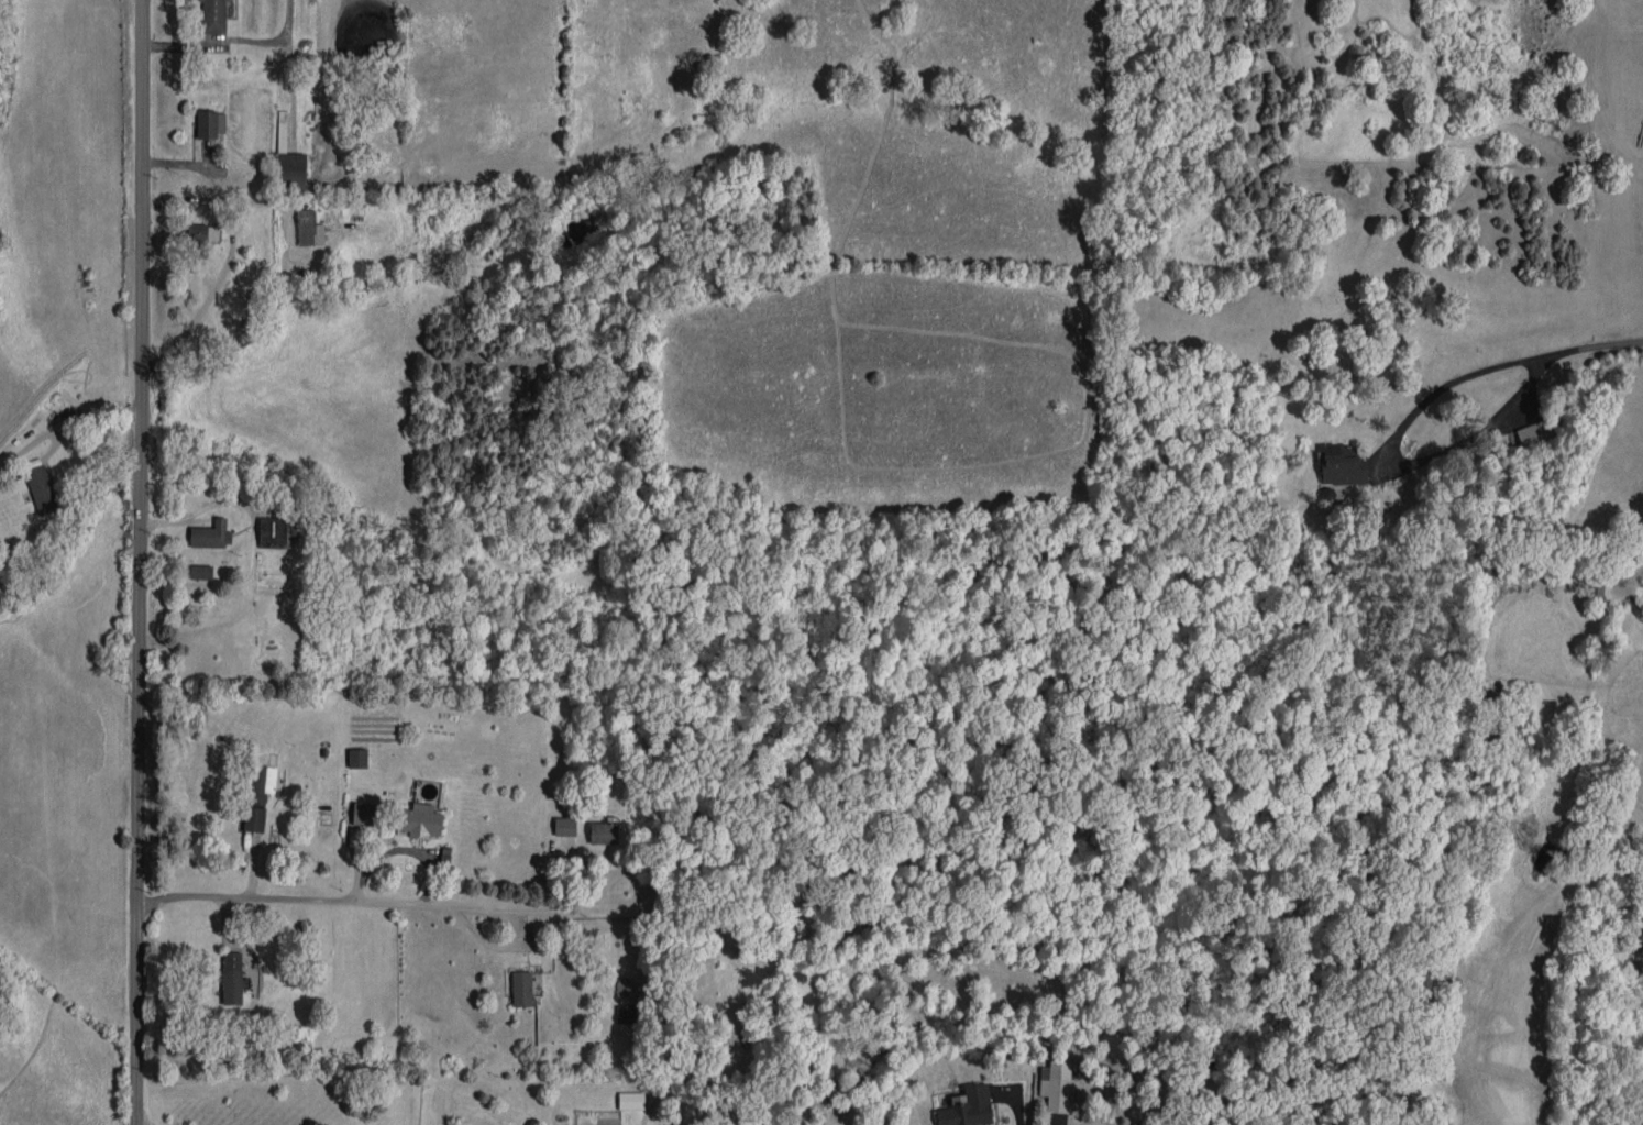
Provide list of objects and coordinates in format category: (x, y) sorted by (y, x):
building: (213, 15)
road: (274, 42)
building: (210, 123)
building: (290, 169)
building: (309, 228)
building: (199, 236)
road: (228, 261)
road: (1602, 343)
building: (1536, 433)
road: (1392, 457)
building: (1343, 464)
building: (41, 488)
building: (276, 531)
building: (211, 534)
road: (253, 538)
road: (142, 562)
building: (200, 571)
building: (1596, 583)
building: (357, 757)
building: (261, 782)
building: (365, 813)
building: (254, 818)
building: (419, 819)
building: (565, 824)
building: (603, 832)
road: (399, 848)
road: (365, 901)
building: (231, 978)
building: (521, 988)
building: (1056, 1085)
building: (631, 1100)
building: (967, 1107)
road: (1016, 1113)

